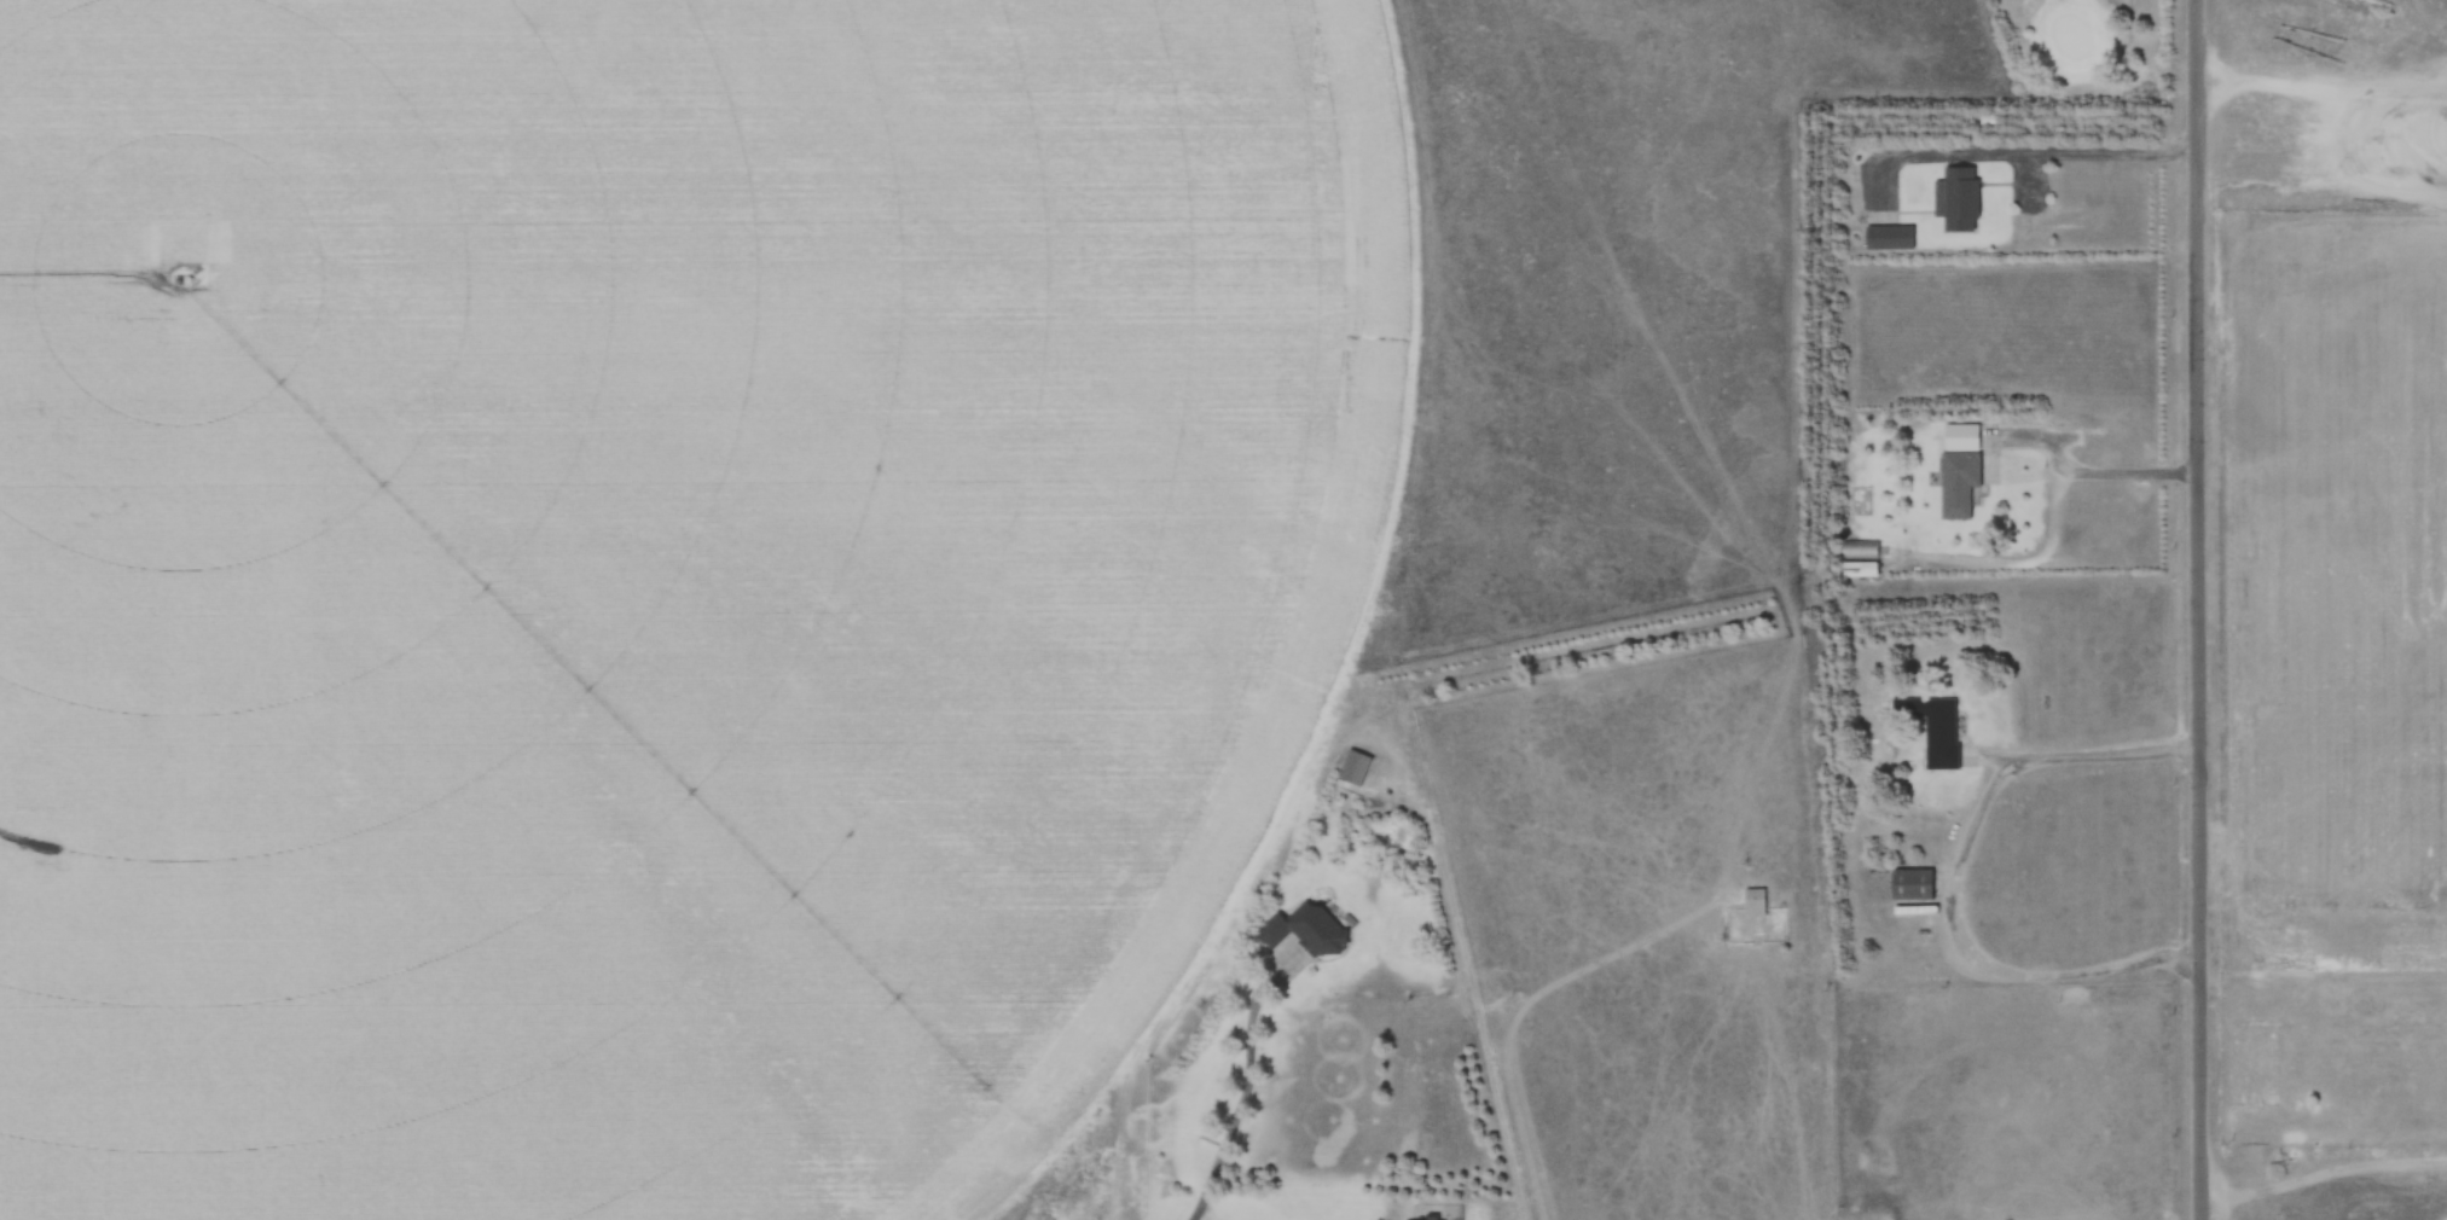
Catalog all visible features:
park: (2094, 65)
building: (1956, 201)
road: (2107, 470)
building: (1953, 486)
building: (1860, 551)
road: (2199, 610)
building: (1935, 732)
building: (1359, 766)
building: (1906, 883)
road: (1959, 883)
building: (1755, 902)
building: (1315, 928)
building: (2339, 1029)
building: (2250, 1064)
road: (1251, 1086)
building: (2382, 1173)

